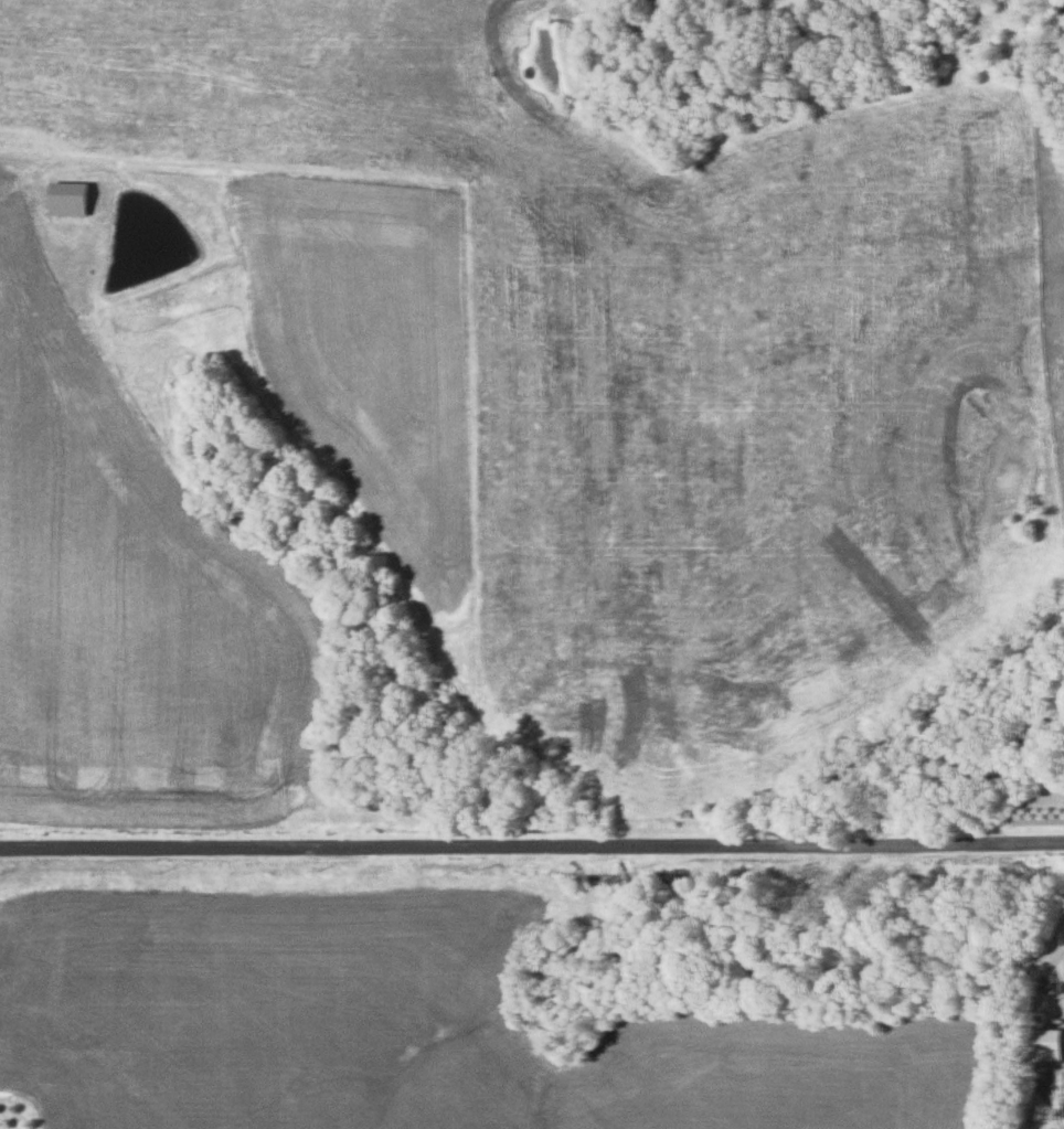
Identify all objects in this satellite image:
building: (72, 199)
road: (905, 713)
road: (532, 840)
building: (1052, 983)
building: (1049, 1044)

